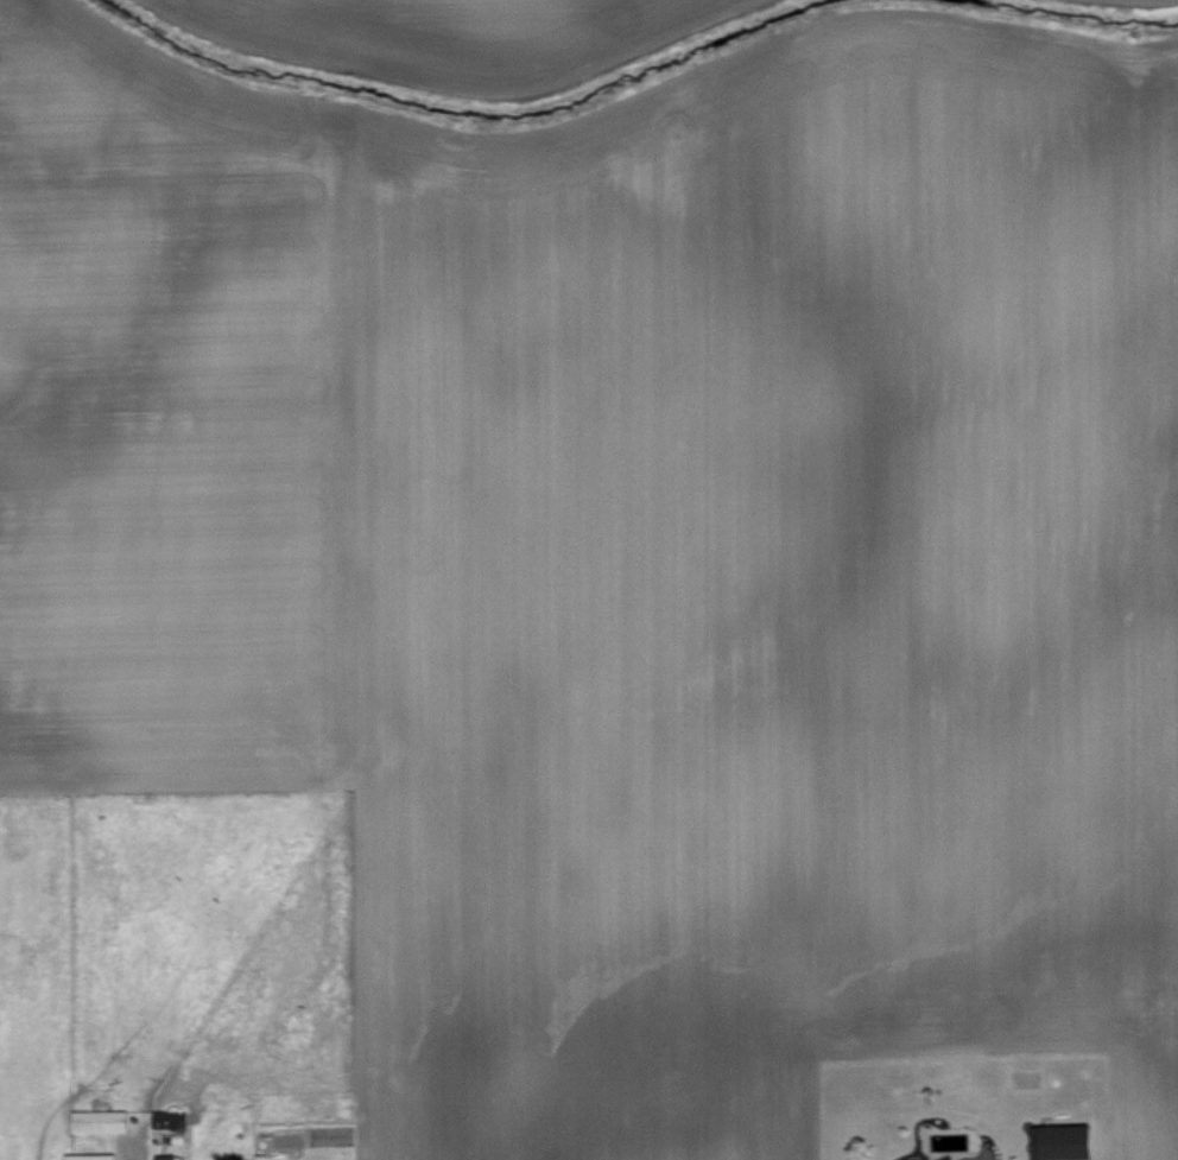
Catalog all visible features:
building: (166, 1116)
building: (101, 1120)
building: (1063, 1140)
building: (91, 1155)

